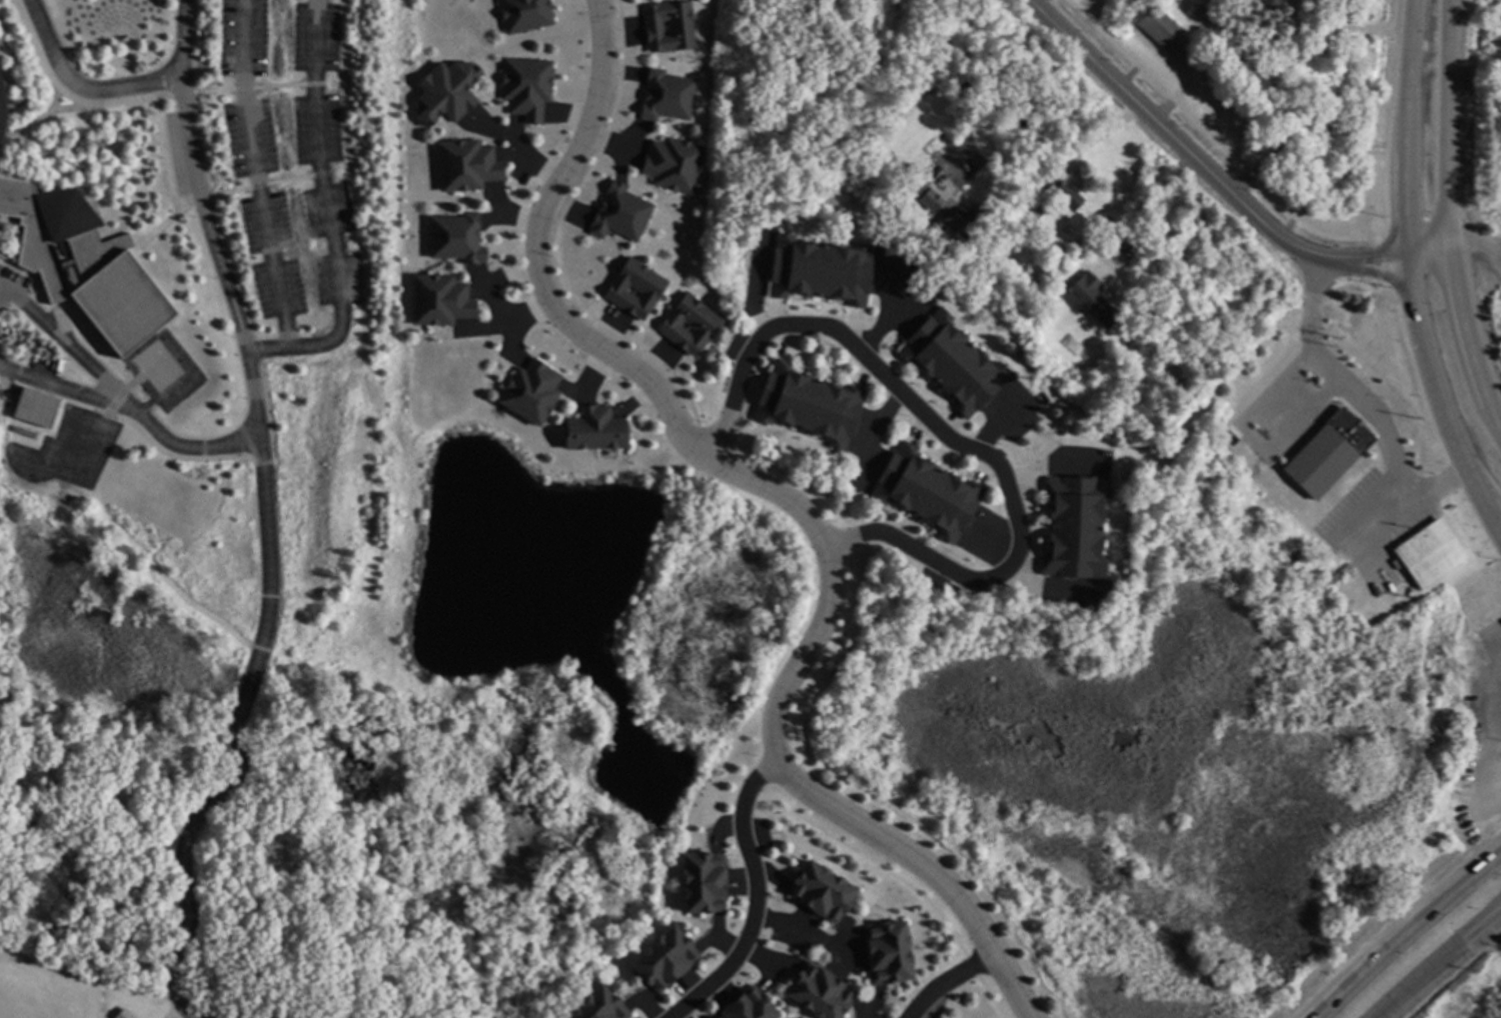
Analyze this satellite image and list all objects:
building: (1272, 5)
building: (526, 15)
building: (671, 25)
road: (1354, 27)
building: (1162, 29)
building: (1212, 29)
building: (1294, 59)
road: (970, 79)
building: (528, 86)
road: (79, 88)
building: (449, 91)
building: (668, 95)
building: (3, 105)
building: (1302, 113)
road: (1404, 126)
road: (528, 155)
building: (468, 163)
building: (674, 164)
road: (1199, 164)
road: (255, 175)
building: (927, 192)
building: (1064, 193)
road: (1141, 206)
building: (620, 212)
road: (330, 215)
road: (1449, 219)
building: (966, 221)
building: (457, 236)
road: (1477, 243)
road: (1428, 250)
building: (85, 261)
building: (822, 269)
building: (942, 272)
road: (1372, 275)
building: (635, 286)
building: (1092, 298)
building: (441, 299)
building: (691, 324)
road: (1310, 330)
road: (70, 350)
building: (954, 361)
building: (533, 391)
road: (67, 393)
road: (1435, 397)
building: (810, 403)
building: (38, 406)
road: (1380, 426)
building: (596, 429)
road: (1251, 439)
road: (954, 441)
road: (192, 451)
building: (1330, 453)
road: (1056, 463)
road: (1480, 478)
road: (1431, 487)
building: (928, 490)
road: (799, 504)
road: (266, 520)
building: (1078, 525)
road: (1352, 546)
building: (1431, 553)
road: (1052, 594)
building: (705, 882)
building: (823, 891)
road: (755, 901)
road: (1500, 904)
road: (1484, 917)
road: (1484, 922)
road: (803, 927)
road: (1405, 932)
building: (890, 952)
building: (667, 958)
road: (1418, 975)
road: (948, 981)
building: (822, 991)
building: (601, 1005)
building: (750, 1006)
building: (122, 1014)

